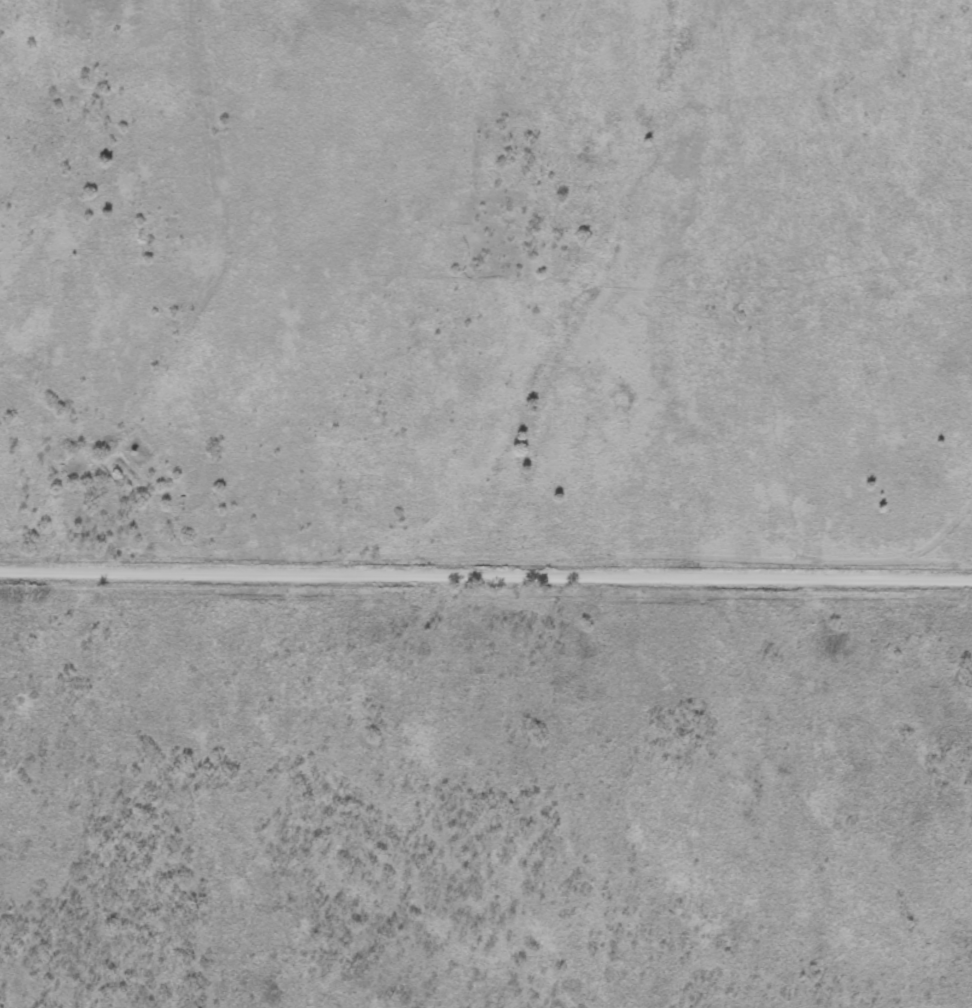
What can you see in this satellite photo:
road: (485, 575)

